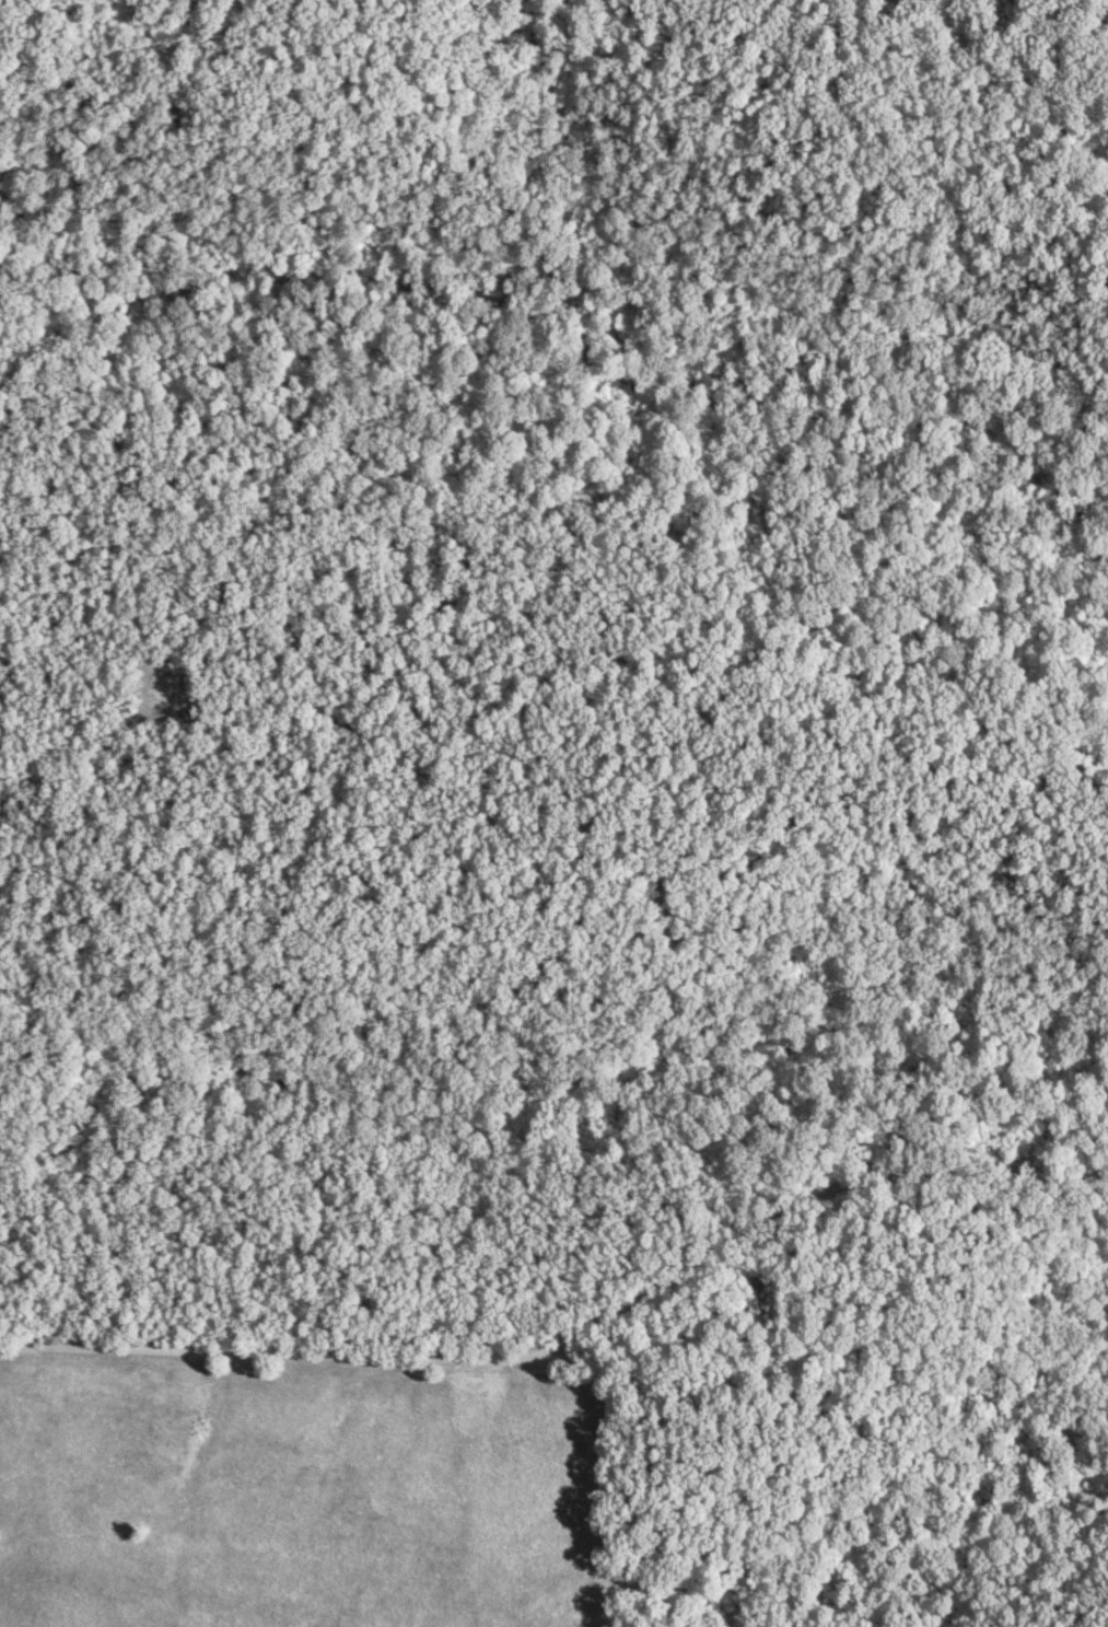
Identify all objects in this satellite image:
road: (574, 1336)

